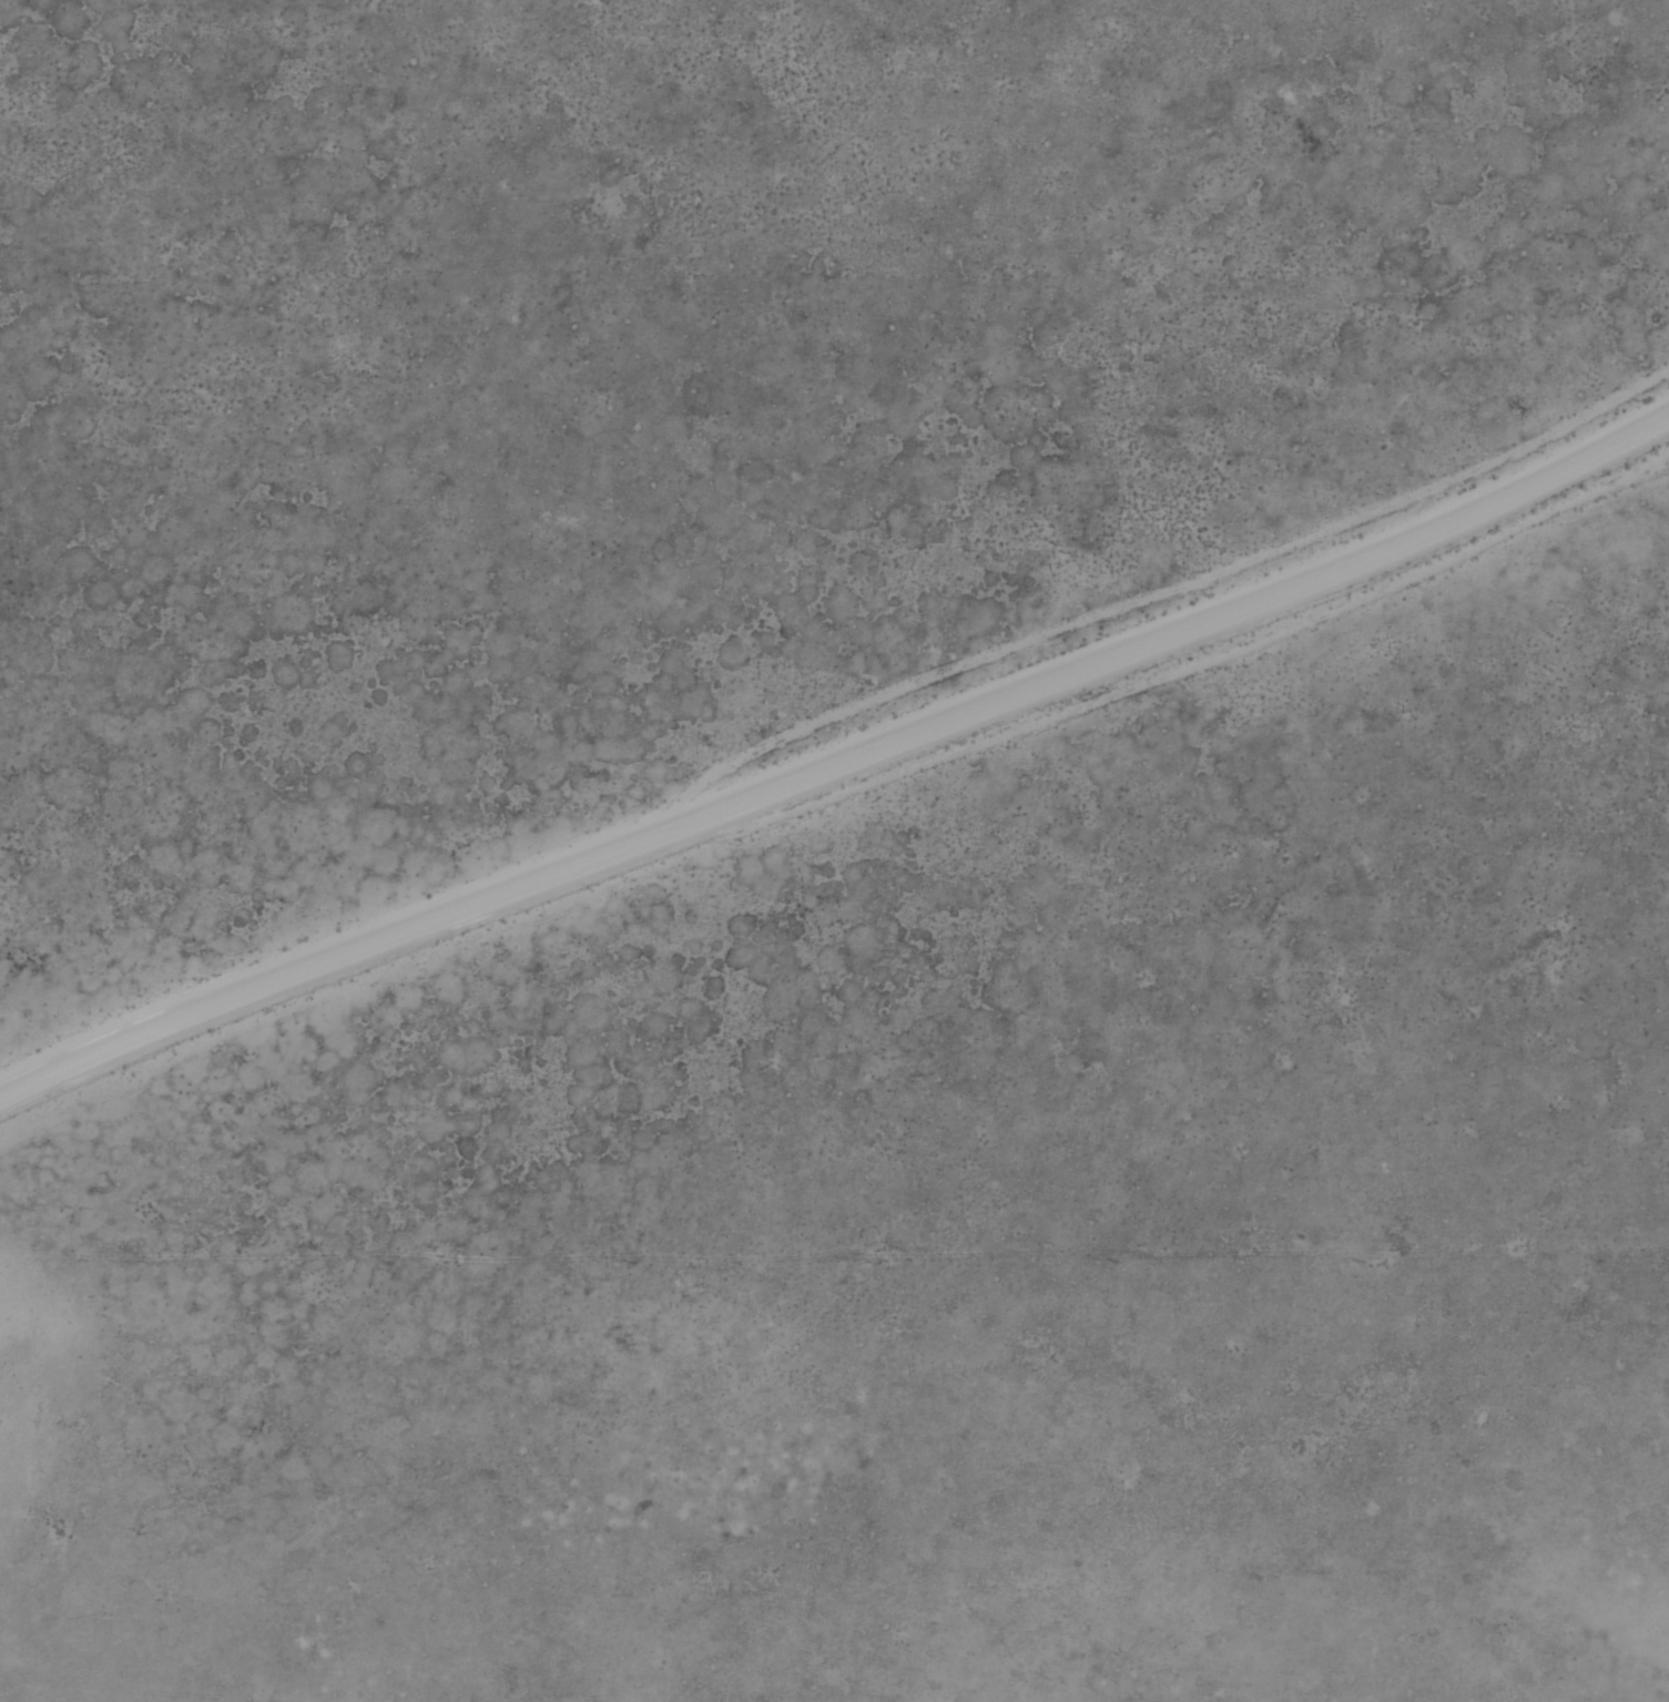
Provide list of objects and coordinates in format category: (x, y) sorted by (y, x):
road: (837, 763)

